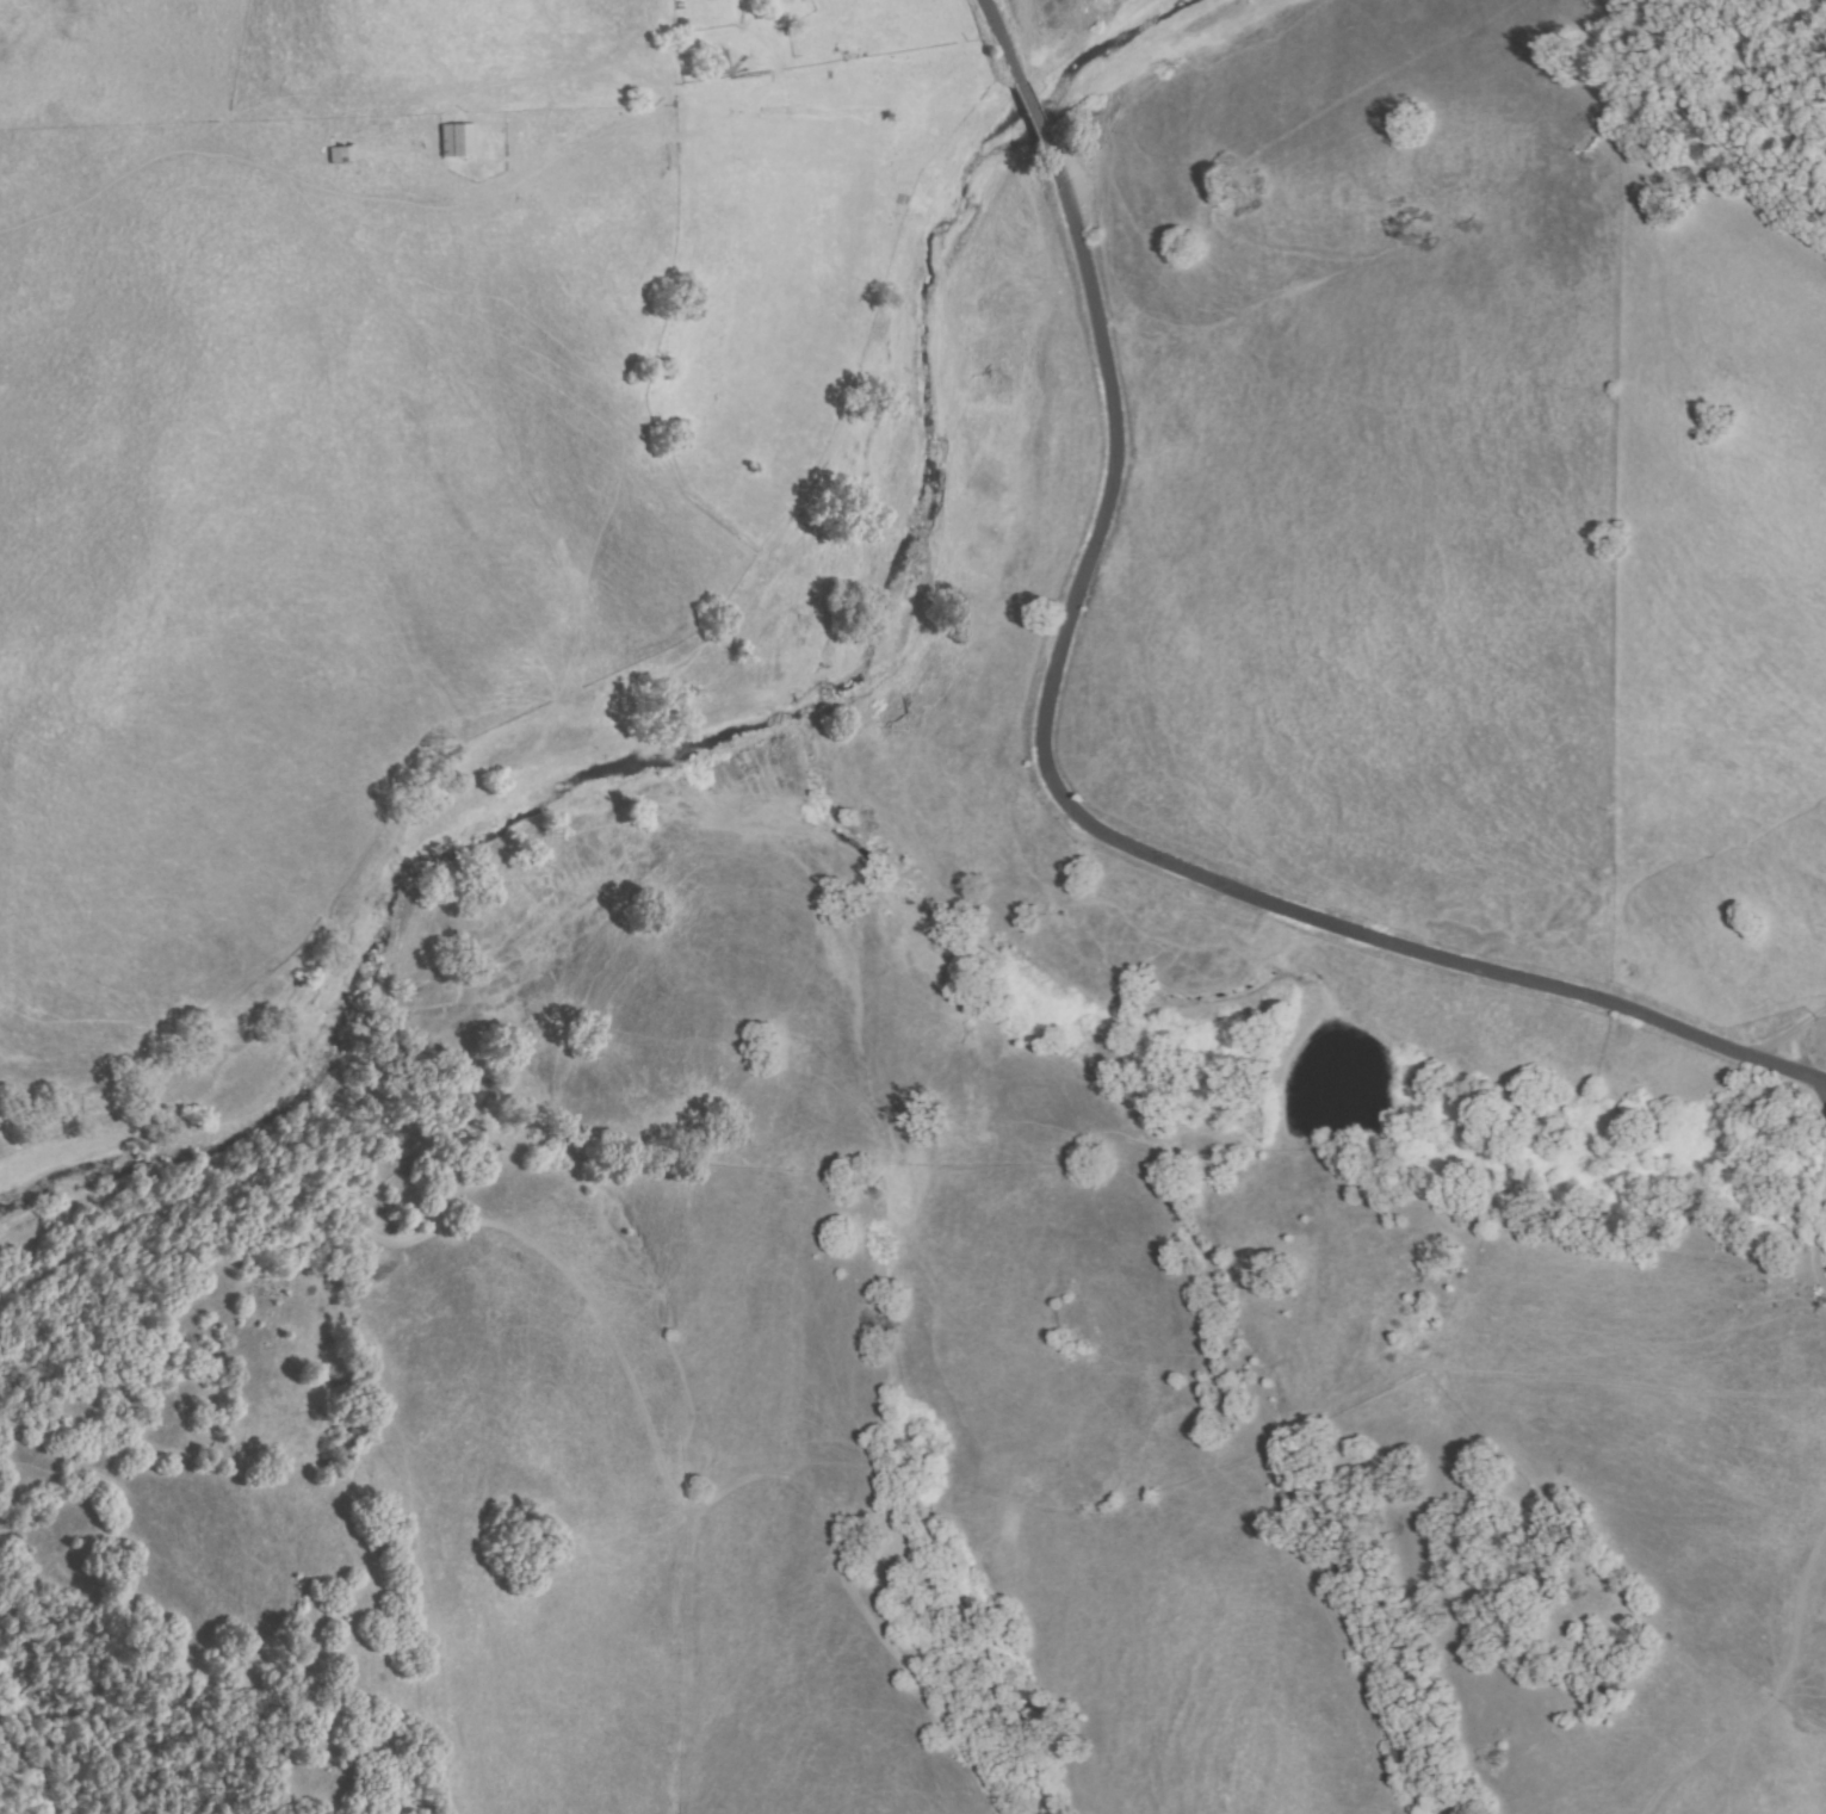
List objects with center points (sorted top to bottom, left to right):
building: (706, 0)
building: (720, 63)
building: (458, 142)
building: (338, 156)
road: (1057, 791)
road: (1794, 1030)
road: (1818, 1232)

